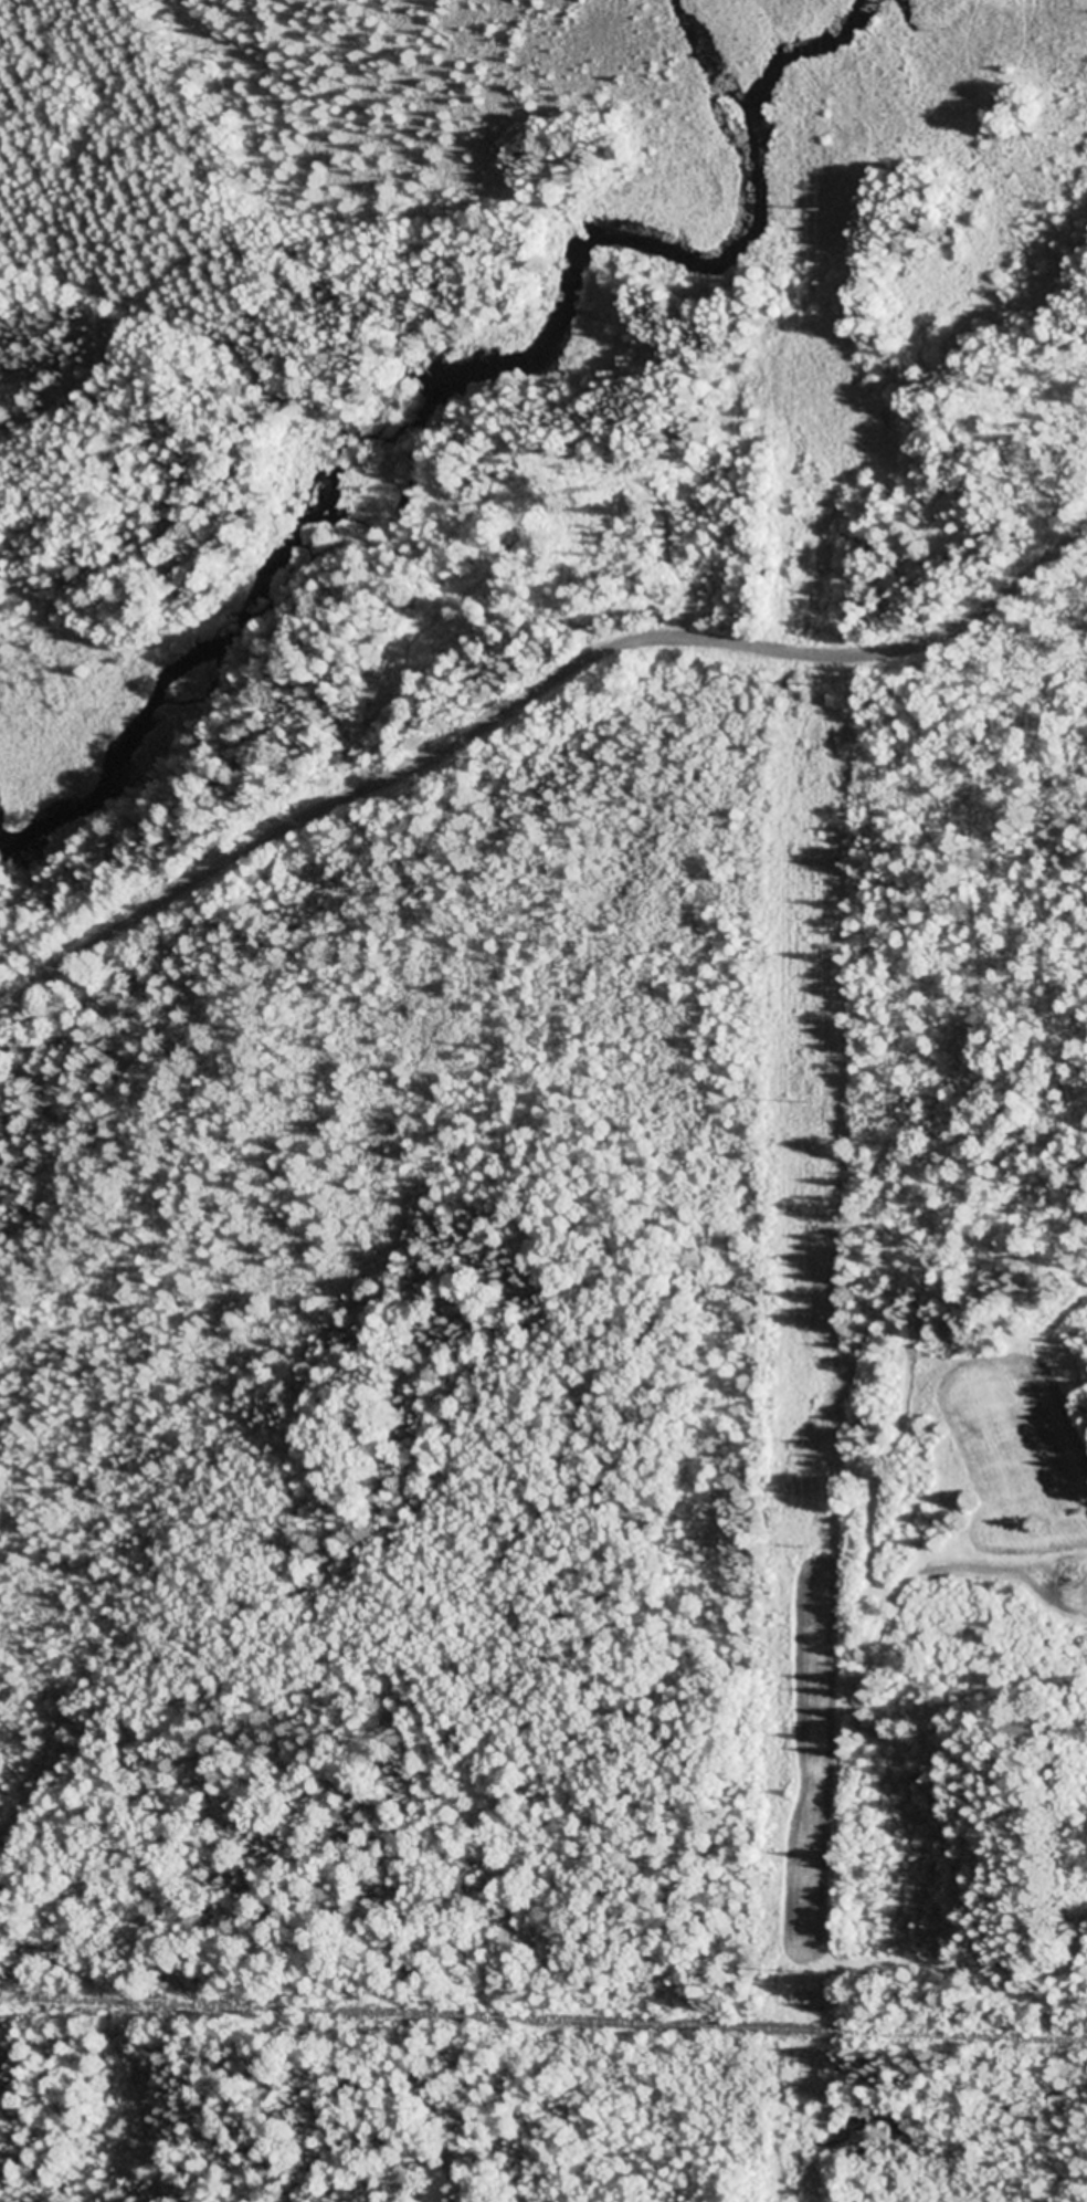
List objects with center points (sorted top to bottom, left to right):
power tower: (815, 211)
power tower: (812, 688)
road: (520, 698)
power tower: (804, 1103)
power tower: (802, 1551)
power tower: (798, 1972)
railway: (543, 2022)
power tower: (796, 2146)

